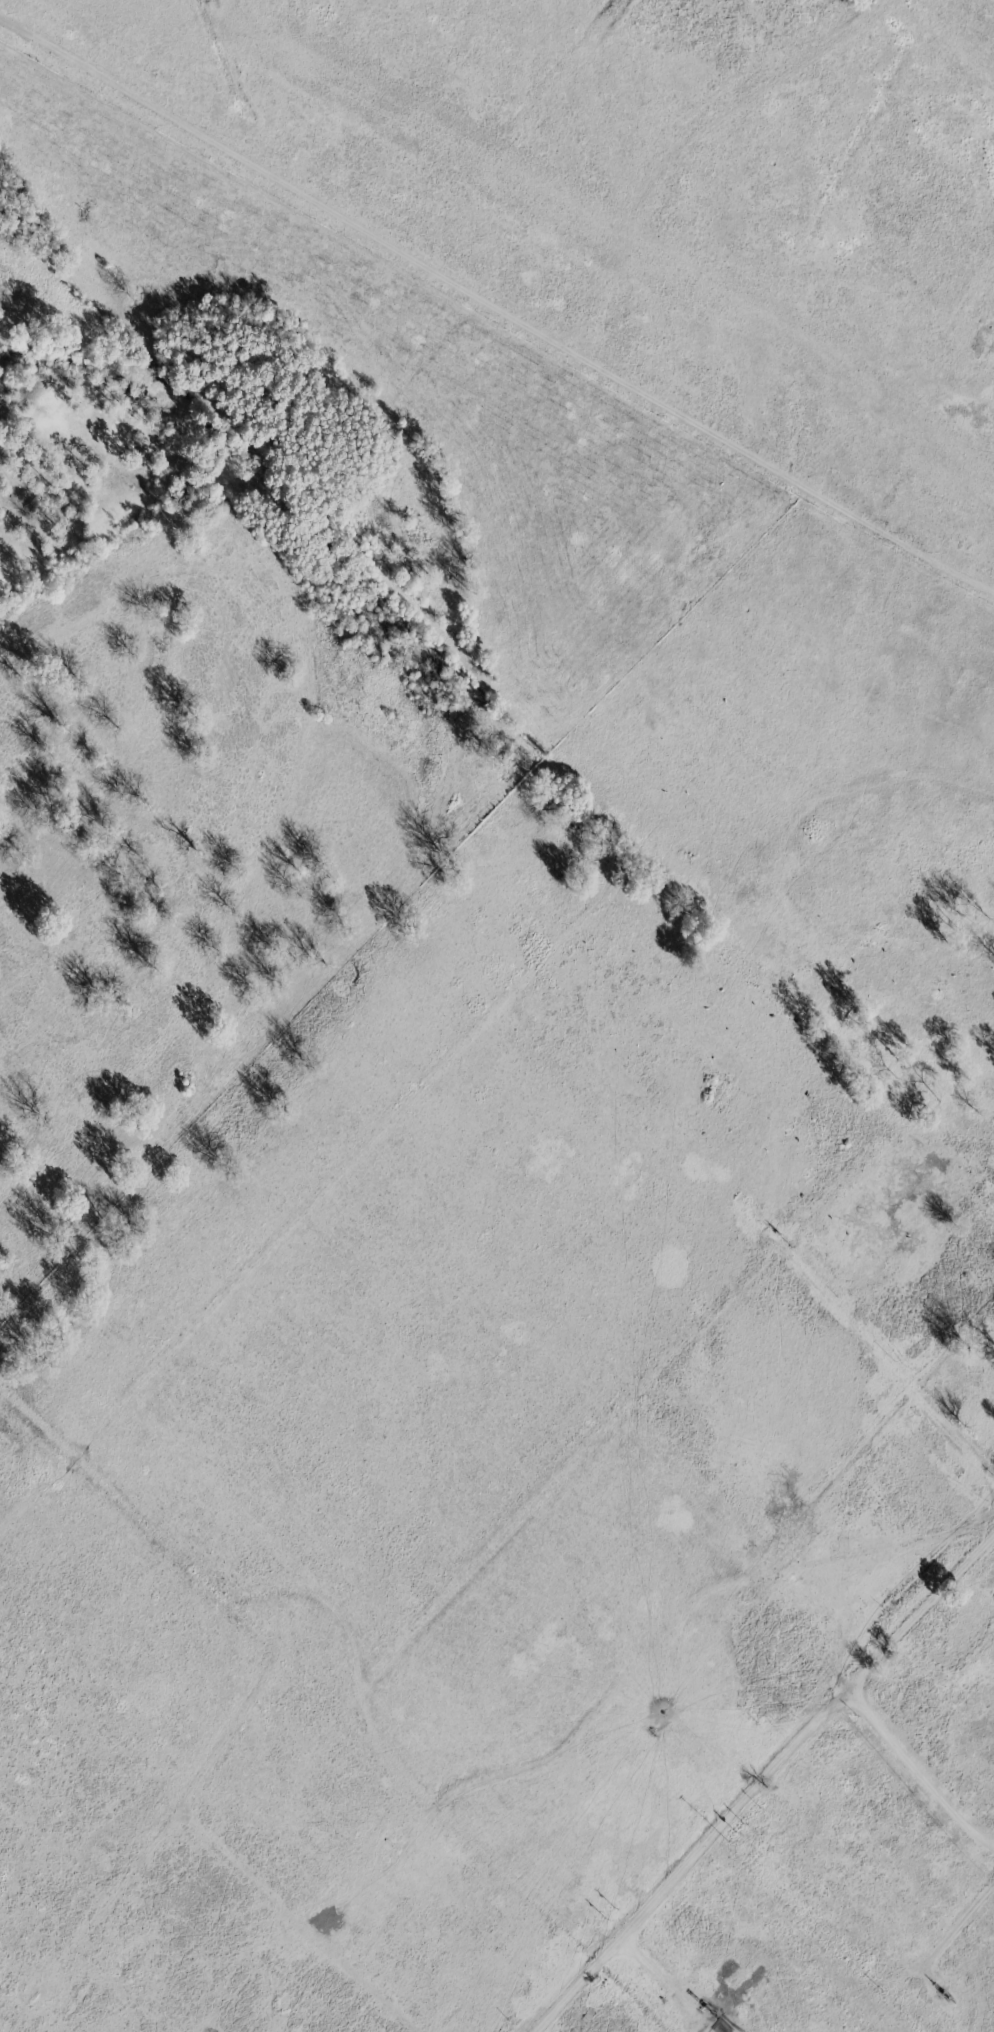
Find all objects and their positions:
road: (497, 326)
road: (761, 1781)

